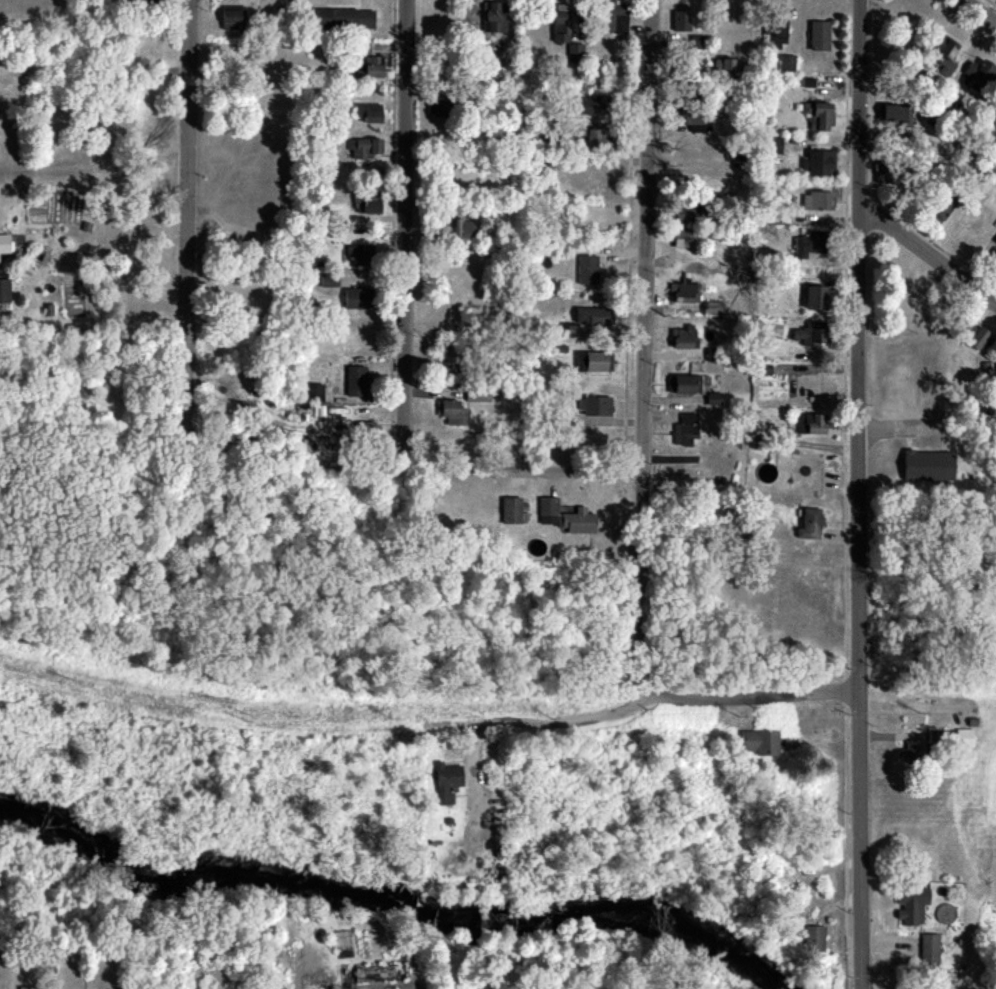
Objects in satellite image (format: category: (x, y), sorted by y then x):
building: (146, 1)
road: (974, 14)
building: (231, 17)
building: (613, 17)
building: (342, 19)
building: (491, 19)
building: (680, 21)
building: (560, 23)
building: (775, 31)
building: (818, 36)
building: (695, 42)
building: (575, 52)
building: (942, 55)
building: (786, 63)
building: (371, 67)
building: (722, 67)
building: (978, 73)
building: (807, 83)
building: (587, 106)
building: (995, 111)
building: (367, 113)
building: (896, 115)
building: (817, 116)
building: (690, 120)
building: (591, 140)
building: (771, 145)
building: (364, 148)
building: (818, 163)
building: (817, 201)
building: (365, 203)
building: (939, 209)
building: (681, 213)
road: (187, 215)
road: (406, 223)
building: (455, 230)
building: (682, 239)
building: (995, 242)
building: (3, 244)
building: (805, 244)
building: (358, 256)
road: (926, 258)
building: (995, 260)
building: (585, 270)
building: (327, 280)
building: (4, 291)
building: (684, 293)
building: (354, 299)
building: (814, 299)
building: (712, 309)
building: (586, 320)
building: (808, 334)
building: (972, 336)
building: (683, 339)
building: (592, 362)
building: (355, 382)
building: (688, 384)
building: (312, 391)
building: (712, 399)
building: (594, 407)
building: (451, 413)
building: (809, 425)
building: (363, 430)
building: (684, 430)
road: (640, 452)
building: (926, 466)
road: (517, 473)
road: (858, 494)
building: (510, 510)
building: (546, 511)
building: (576, 522)
building: (810, 525)
road: (537, 724)
building: (963, 738)
building: (760, 742)
building: (912, 751)
building: (446, 782)
building: (910, 906)
building: (813, 939)
building: (928, 948)
building: (26, 988)

